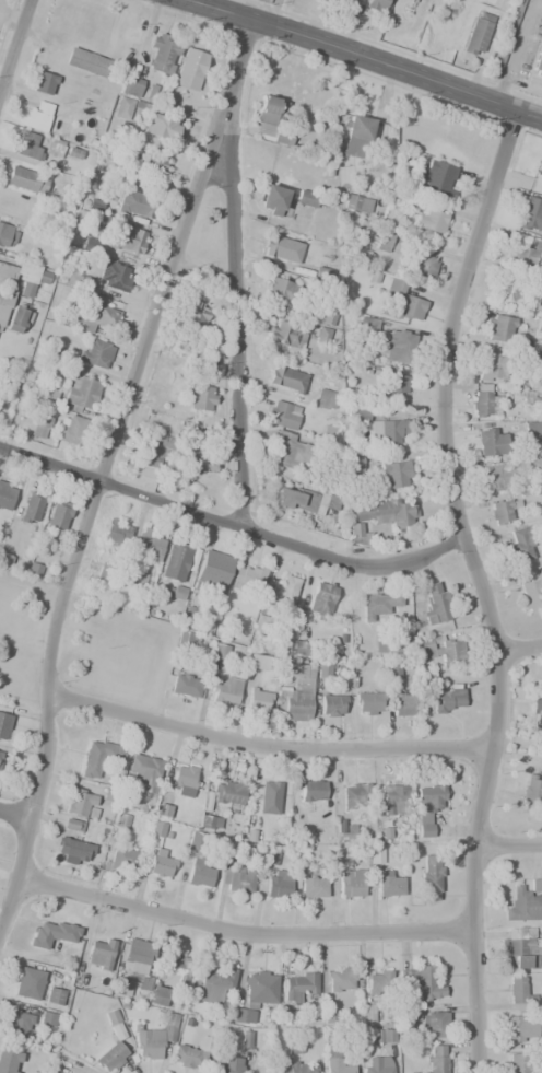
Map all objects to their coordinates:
building: (376, 3)
building: (515, 13)
building: (478, 33)
road: (14, 44)
road: (514, 51)
building: (162, 54)
road: (366, 58)
building: (86, 61)
building: (538, 66)
building: (189, 69)
building: (44, 83)
building: (131, 86)
building: (127, 107)
building: (36, 117)
building: (269, 118)
building: (163, 128)
building: (356, 136)
building: (28, 144)
building: (54, 147)
building: (144, 163)
building: (437, 178)
building: (26, 179)
building: (307, 198)
building: (273, 200)
building: (357, 203)
building: (130, 206)
building: (531, 213)
building: (431, 224)
building: (7, 235)
building: (126, 240)
building: (384, 242)
building: (90, 244)
building: (285, 248)
building: (523, 250)
building: (420, 265)
road: (203, 272)
building: (22, 276)
building: (111, 276)
building: (280, 290)
building: (514, 291)
building: (402, 300)
building: (4, 306)
road: (235, 308)
building: (93, 316)
building: (19, 318)
building: (195, 322)
building: (368, 324)
building: (499, 328)
building: (285, 334)
building: (321, 336)
building: (396, 347)
building: (96, 353)
building: (533, 361)
building: (191, 364)
building: (492, 366)
building: (213, 370)
building: (286, 376)
building: (392, 387)
building: (43, 392)
building: (79, 392)
building: (199, 397)
building: (520, 397)
building: (325, 399)
building: (483, 401)
building: (356, 413)
building: (283, 415)
building: (39, 424)
building: (531, 428)
building: (71, 429)
building: (390, 431)
building: (491, 442)
building: (151, 450)
building: (290, 453)
building: (198, 460)
building: (354, 464)
road: (103, 467)
building: (507, 471)
building: (393, 474)
building: (5, 495)
building: (306, 501)
building: (31, 509)
building: (500, 512)
building: (382, 514)
building: (58, 515)
road: (232, 523)
building: (114, 530)
building: (358, 535)
building: (519, 543)
building: (151, 545)
building: (176, 561)
building: (104, 571)
building: (212, 573)
building: (131, 575)
building: (246, 578)
road: (480, 585)
building: (177, 593)
building: (530, 594)
building: (282, 595)
building: (319, 600)
building: (379, 604)
building: (436, 604)
building: (260, 622)
building: (385, 643)
road: (518, 645)
park: (79, 648)
building: (440, 648)
building: (221, 652)
building: (322, 670)
building: (392, 672)
building: (187, 686)
building: (225, 690)
building: (297, 691)
building: (447, 698)
building: (535, 698)
building: (258, 699)
building: (367, 703)
building: (401, 703)
building: (331, 705)
building: (3, 725)
road: (266, 746)
building: (0, 754)
building: (97, 756)
building: (143, 771)
building: (182, 780)
building: (311, 790)
building: (531, 790)
building: (227, 792)
building: (354, 795)
building: (392, 798)
building: (271, 800)
building: (79, 801)
building: (427, 807)
road: (14, 814)
building: (210, 821)
building: (70, 825)
building: (252, 830)
building: (344, 830)
building: (195, 841)
road: (507, 843)
building: (72, 850)
building: (123, 855)
building: (161, 864)
building: (199, 875)
building: (428, 875)
building: (236, 880)
building: (351, 883)
building: (276, 884)
building: (388, 884)
building: (535, 886)
building: (313, 887)
building: (522, 906)
road: (241, 930)
building: (52, 933)
building: (520, 948)
building: (99, 953)
building: (130, 966)
building: (169, 969)
building: (341, 980)
building: (378, 982)
building: (419, 982)
building: (27, 983)
building: (215, 983)
building: (298, 983)
building: (517, 991)
building: (256, 993)
building: (54, 995)
building: (160, 996)
building: (367, 1013)
building: (47, 1018)
building: (17, 1022)
building: (431, 1022)
building: (521, 1028)
building: (382, 1036)
building: (156, 1037)
building: (114, 1046)
building: (192, 1052)
building: (436, 1059)
building: (9, 1061)
building: (335, 1062)
building: (518, 1062)
building: (228, 1064)
building: (376, 1064)
building: (298, 1068)

